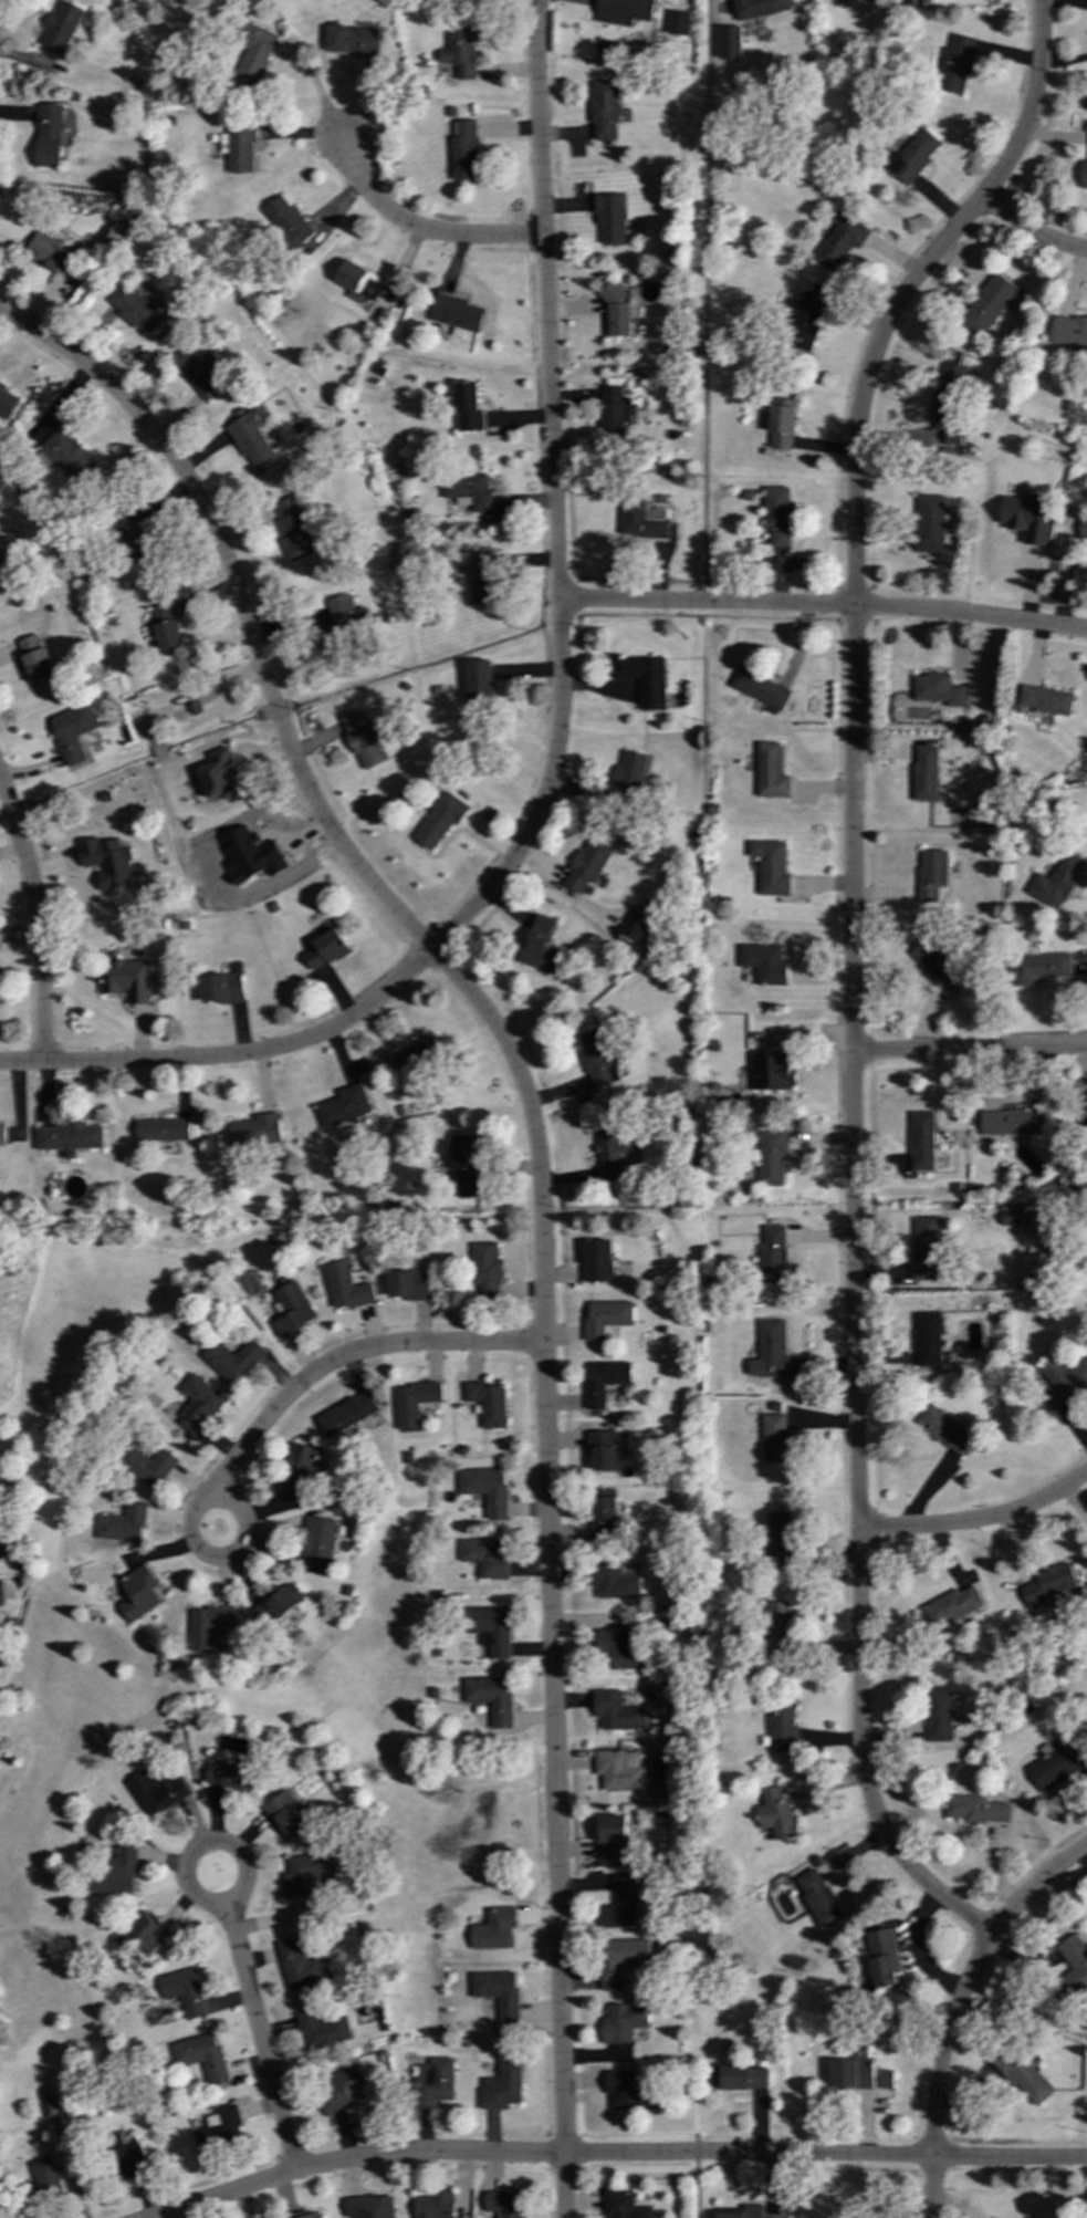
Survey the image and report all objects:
building: (846, 3)
building: (756, 8)
building: (621, 11)
building: (677, 22)
building: (61, 27)
building: (351, 40)
building: (729, 42)
building: (458, 52)
building: (253, 55)
building: (955, 64)
road: (316, 90)
building: (604, 111)
building: (48, 135)
building: (238, 147)
building: (462, 149)
building: (911, 156)
building: (1084, 175)
building: (609, 219)
building: (286, 221)
road: (420, 230)
road: (1031, 232)
building: (111, 233)
building: (839, 241)
building: (50, 252)
building: (356, 282)
building: (986, 304)
building: (134, 309)
building: (617, 311)
building: (456, 313)
building: (803, 319)
building: (1068, 332)
building: (199, 372)
building: (948, 383)
building: (6, 403)
building: (468, 408)
building: (614, 413)
building: (782, 424)
building: (951, 437)
building: (253, 440)
building: (67, 457)
building: (468, 490)
building: (776, 514)
building: (1026, 518)
building: (641, 520)
building: (928, 524)
building: (1081, 528)
building: (293, 529)
building: (130, 535)
building: (3, 574)
building: (480, 579)
road: (824, 606)
building: (342, 619)
building: (166, 629)
building: (34, 658)
building: (478, 680)
building: (646, 680)
building: (760, 688)
building: (937, 689)
building: (1045, 700)
road: (558, 727)
building: (72, 731)
building: (362, 739)
building: (770, 771)
building: (923, 772)
building: (220, 774)
building: (628, 775)
building: (439, 820)
building: (251, 855)
building: (107, 861)
building: (586, 866)
building: (770, 867)
building: (930, 874)
building: (1055, 882)
road: (36, 921)
building: (634, 924)
building: (541, 946)
building: (324, 950)
building: (764, 962)
building: (938, 962)
road: (851, 967)
building: (1037, 967)
building: (126, 979)
building: (221, 988)
road: (970, 1049)
building: (412, 1056)
building: (595, 1056)
building: (772, 1071)
building: (344, 1106)
building: (1011, 1123)
building: (1085, 1127)
building: (163, 1129)
building: (255, 1132)
building: (2, 1136)
building: (67, 1138)
building: (921, 1142)
building: (612, 1153)
building: (771, 1157)
building: (463, 1165)
road: (537, 1173)
building: (1011, 1215)
building: (924, 1248)
building: (772, 1254)
building: (597, 1261)
building: (485, 1270)
building: (409, 1285)
building: (346, 1288)
building: (292, 1309)
building: (605, 1318)
building: (926, 1339)
building: (770, 1351)
road: (346, 1356)
building: (232, 1360)
building: (604, 1381)
building: (1062, 1381)
building: (414, 1403)
building: (487, 1403)
building: (198, 1404)
building: (348, 1414)
building: (944, 1430)
building: (774, 1439)
building: (602, 1450)
building: (148, 1467)
building: (300, 1469)
building: (485, 1489)
building: (604, 1514)
road: (978, 1519)
building: (123, 1524)
building: (780, 1540)
building: (317, 1545)
road: (197, 1548)
building: (1, 1554)
building: (485, 1556)
building: (612, 1581)
building: (1048, 1584)
building: (137, 1593)
building: (0, 1595)
building: (276, 1603)
building: (950, 1606)
building: (208, 1625)
building: (490, 1628)
building: (777, 1628)
building: (616, 1652)
building: (491, 1698)
building: (615, 1711)
building: (937, 1714)
building: (782, 1727)
building: (1055, 1767)
building: (615, 1771)
building: (229, 1776)
building: (155, 1792)
building: (975, 1809)
building: (775, 1814)
building: (285, 1815)
building: (612, 1841)
road: (223, 1846)
building: (113, 1872)
building: (307, 1875)
building: (817, 1898)
building: (619, 1904)
building: (494, 1929)
building: (140, 1933)
building: (882, 1957)
building: (619, 1959)
building: (301, 1965)
building: (1072, 1969)
road: (966, 1979)
building: (184, 1991)
building: (498, 1992)
building: (623, 2022)
building: (322, 2029)
road: (259, 2039)
building: (200, 2056)
building: (851, 2073)
building: (1020, 2074)
building: (739, 2078)
building: (885, 2079)
building: (433, 2083)
building: (501, 2086)
building: (338, 2090)
building: (626, 2091)
building: (219, 2130)
road: (616, 2155)
building: (124, 2157)
building: (44, 2176)
road: (931, 2188)
building: (504, 2203)
building: (435, 2205)
building: (621, 2206)
building: (369, 2207)
building: (743, 2212)
building: (305, 2215)

